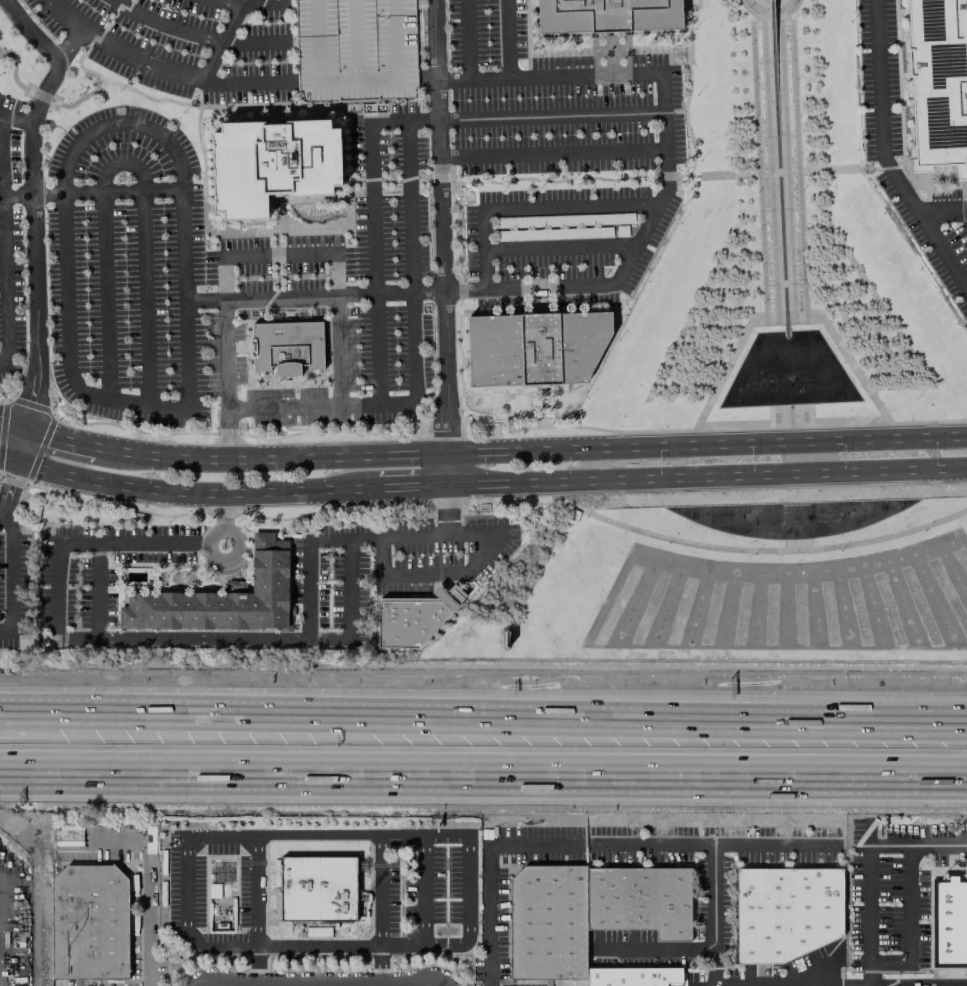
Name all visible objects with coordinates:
road: (231, 1)
road: (786, 6)
road: (754, 7)
road: (791, 10)
road: (749, 11)
building: (608, 15)
road: (109, 20)
road: (163, 25)
road: (225, 34)
road: (791, 36)
road: (752, 37)
road: (508, 39)
road: (468, 40)
road: (253, 41)
road: (604, 44)
road: (68, 46)
building: (355, 49)
parking garage: (355, 49)
road: (118, 50)
road: (654, 50)
road: (538, 54)
road: (610, 66)
road: (82, 68)
road: (13, 75)
road: (588, 76)
road: (243, 83)
road: (689, 83)
building: (938, 83)
road: (794, 90)
road: (781, 91)
road: (755, 93)
road: (41, 96)
road: (237, 105)
road: (276, 108)
road: (343, 110)
road: (879, 111)
road: (16, 117)
road: (551, 117)
road: (198, 120)
road: (274, 120)
road: (404, 123)
road: (119, 124)
road: (552, 154)
road: (127, 162)
road: (797, 164)
building: (271, 165)
road: (758, 167)
road: (883, 168)
road: (451, 178)
road: (405, 179)
road: (91, 191)
road: (31, 202)
road: (570, 207)
road: (942, 211)
road: (965, 213)
fountain: (315, 214)
road: (281, 222)
road: (282, 226)
road: (332, 226)
road: (440, 226)
road: (3, 230)
road: (801, 239)
road: (761, 240)
road: (774, 240)
road: (560, 248)
road: (485, 250)
road: (942, 251)
road: (279, 254)
park: (782, 255)
road: (410, 263)
road: (374, 265)
road: (276, 273)
road: (783, 283)
road: (599, 284)
road: (313, 297)
road: (184, 299)
road: (537, 300)
road: (596, 310)
road: (249, 323)
road: (66, 347)
building: (286, 347)
road: (235, 348)
building: (534, 348)
road: (338, 351)
road: (3, 355)
road: (464, 360)
road: (226, 380)
road: (568, 387)
road: (541, 391)
road: (503, 394)
road: (538, 394)
road: (500, 406)
road: (321, 407)
road: (568, 407)
road: (493, 414)
road: (928, 421)
road: (542, 422)
road: (13, 424)
road: (531, 428)
road: (61, 439)
road: (22, 445)
road: (530, 450)
road: (8, 458)
road: (447, 468)
road: (707, 476)
road: (413, 485)
road: (9, 488)
road: (196, 492)
road: (7, 518)
road: (764, 551)
road: (58, 556)
road: (308, 562)
road: (456, 573)
road: (13, 576)
park: (729, 579)
building: (237, 585)
building: (221, 598)
building: (412, 618)
road: (6, 630)
road: (203, 639)
road: (14, 719)
road: (390, 727)
road: (860, 728)
road: (483, 776)
road: (317, 835)
road: (776, 844)
road: (601, 845)
road: (250, 862)
road: (272, 862)
road: (369, 865)
road: (384, 865)
road: (869, 867)
building: (317, 887)
road: (423, 891)
building: (639, 901)
building: (785, 912)
building: (949, 922)
building: (89, 923)
road: (148, 923)
building: (547, 923)
road: (908, 923)
road: (338, 946)
road: (656, 949)
building: (632, 976)

